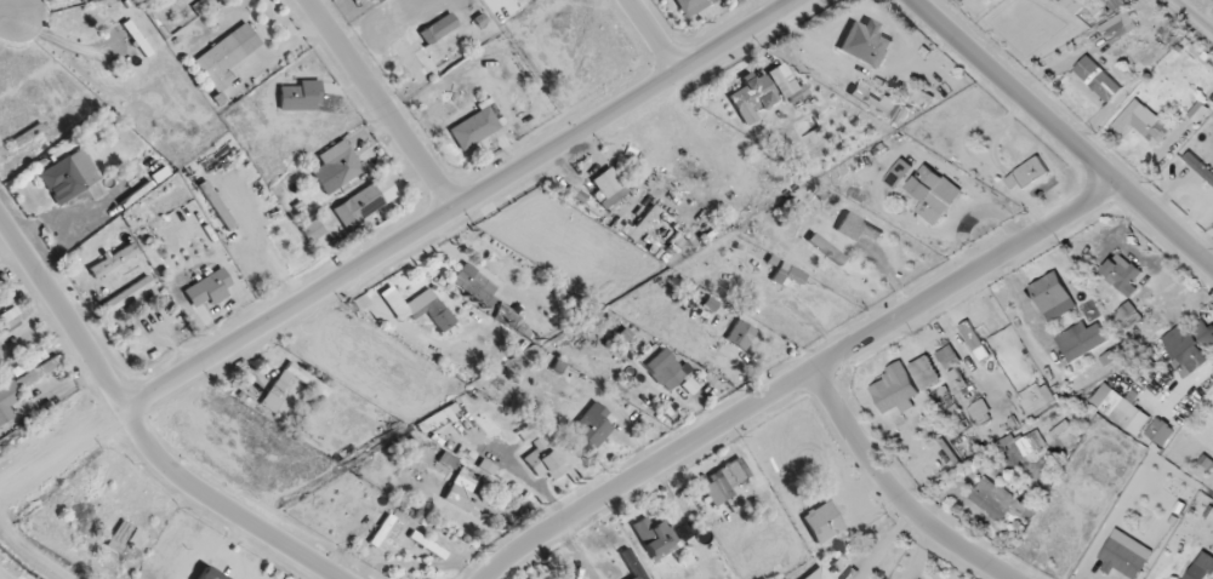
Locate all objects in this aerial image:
building: (693, 6)
building: (1084, 6)
road: (1194, 13)
road: (8, 19)
building: (1118, 25)
road: (653, 38)
building: (437, 41)
building: (866, 44)
building: (222, 61)
building: (1098, 78)
building: (763, 91)
building: (300, 94)
building: (871, 101)
road: (378, 105)
building: (1143, 122)
building: (474, 127)
road: (1061, 133)
building: (343, 166)
building: (1029, 174)
building: (70, 176)
building: (609, 188)
building: (929, 195)
building: (359, 205)
road: (466, 205)
building: (862, 225)
building: (313, 229)
building: (287, 230)
building: (251, 263)
building: (1123, 275)
building: (209, 288)
building: (483, 293)
building: (127, 294)
building: (1053, 296)
building: (435, 313)
building: (10, 317)
building: (741, 334)
building: (974, 340)
building: (1186, 346)
building: (947, 356)
building: (665, 368)
building: (926, 372)
road: (799, 377)
building: (957, 379)
building: (558, 383)
building: (896, 389)
building: (278, 390)
building: (1121, 408)
building: (980, 412)
building: (593, 425)
road: (135, 431)
building: (1041, 437)
road: (61, 449)
building: (541, 455)
building: (725, 480)
road: (894, 491)
building: (469, 497)
building: (1001, 501)
building: (824, 522)
building: (655, 537)
building: (1122, 560)
building: (633, 564)
building: (820, 573)

